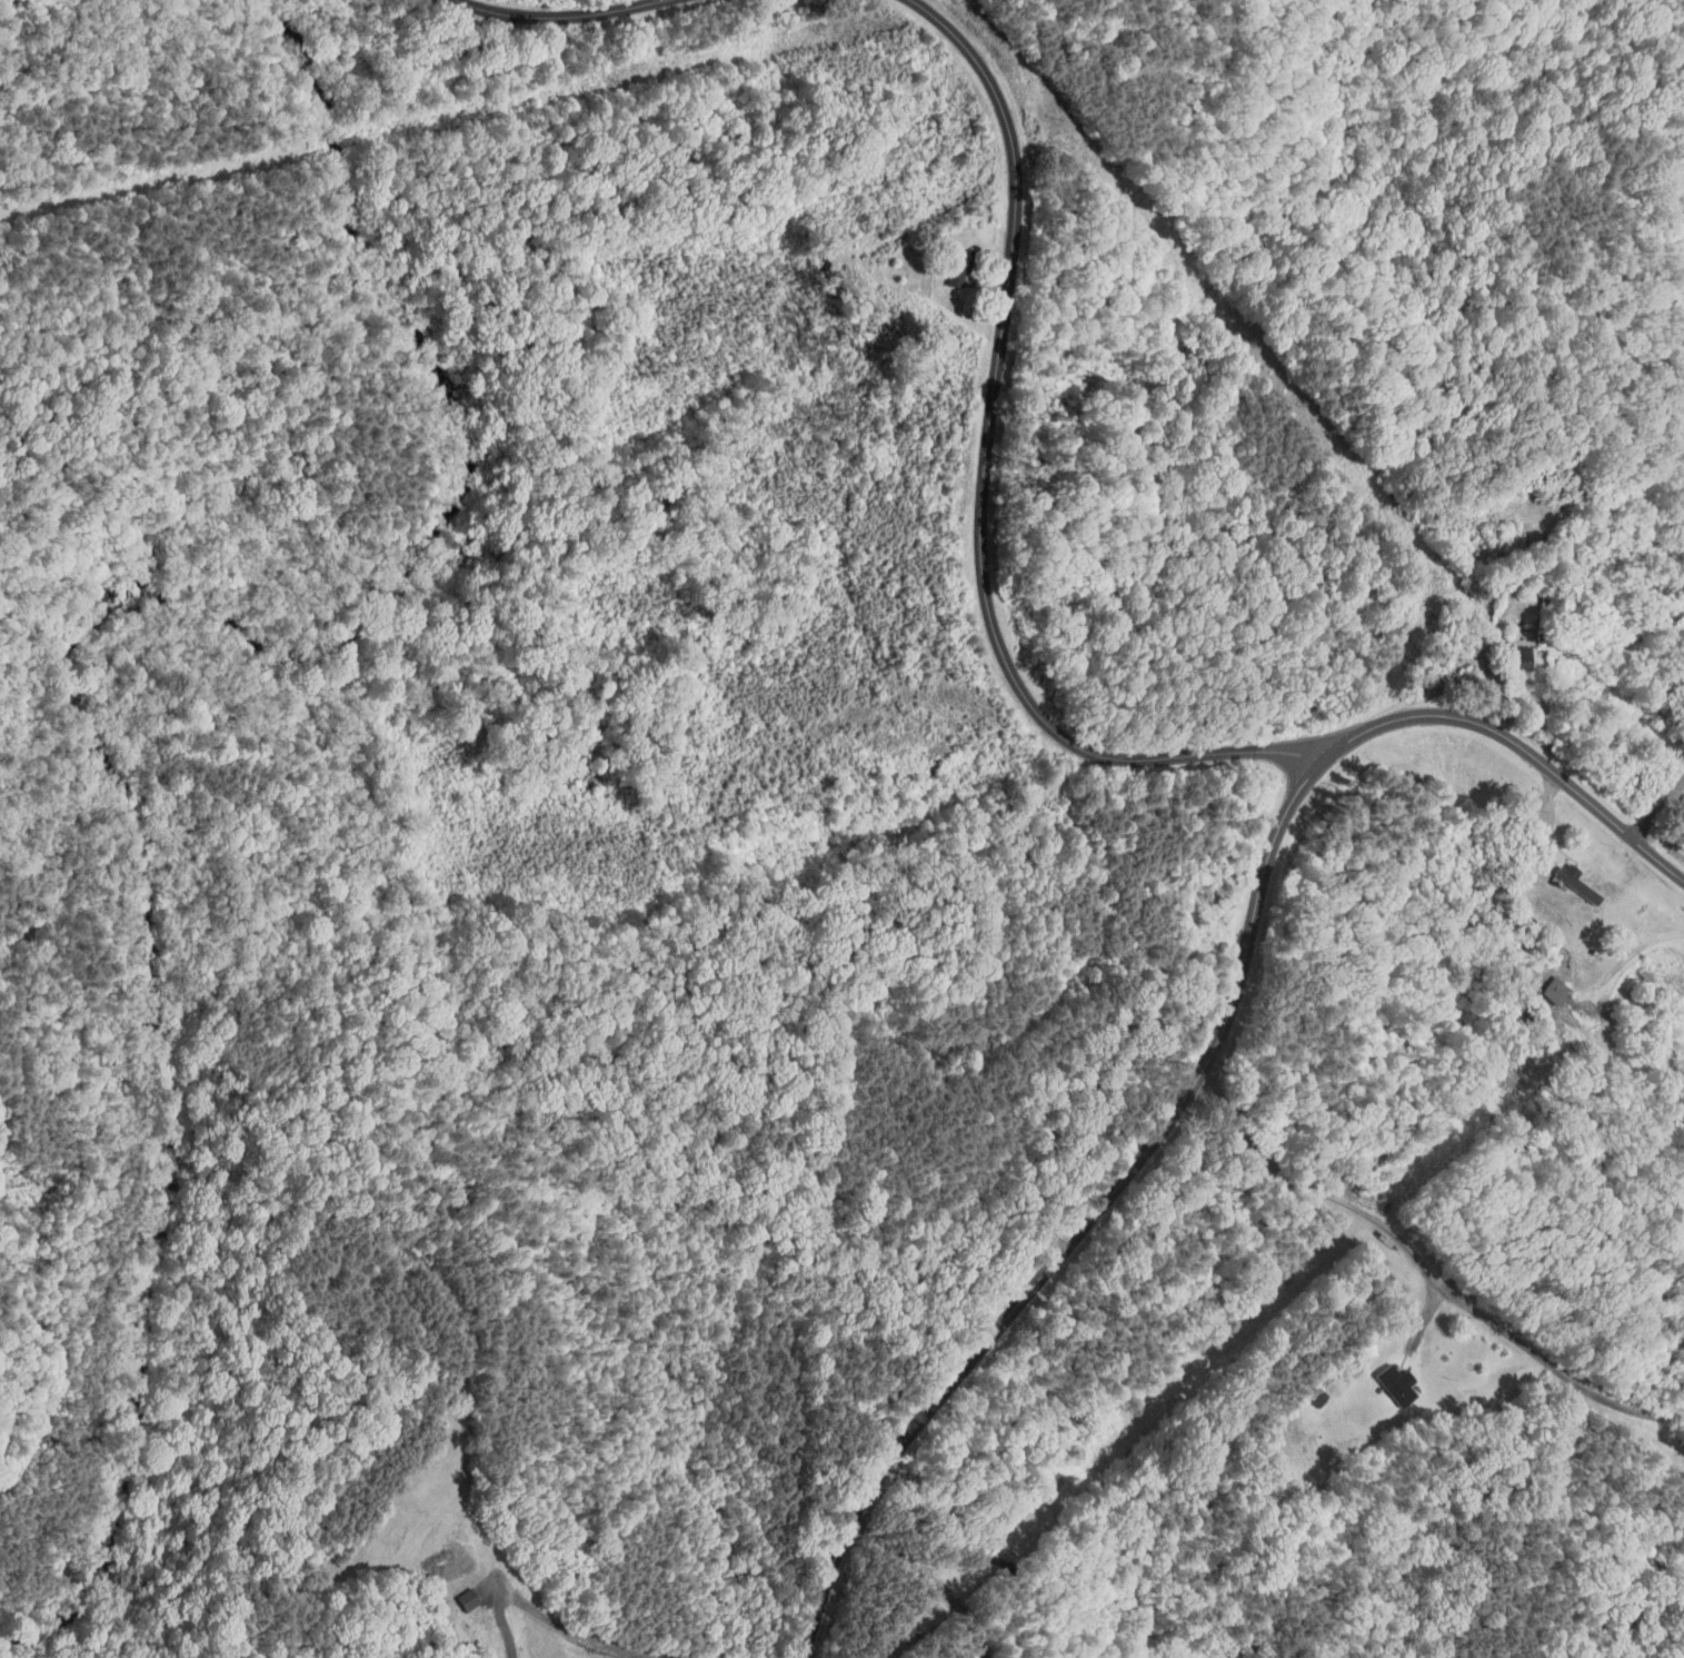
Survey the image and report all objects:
road: (562, 20)
building: (947, 267)
road: (979, 488)
building: (1522, 647)
road: (1664, 817)
building: (1561, 867)
building: (1545, 983)
road: (1214, 1048)
road: (1436, 1262)
building: (1387, 1377)
road: (935, 1578)
building: (459, 1591)

